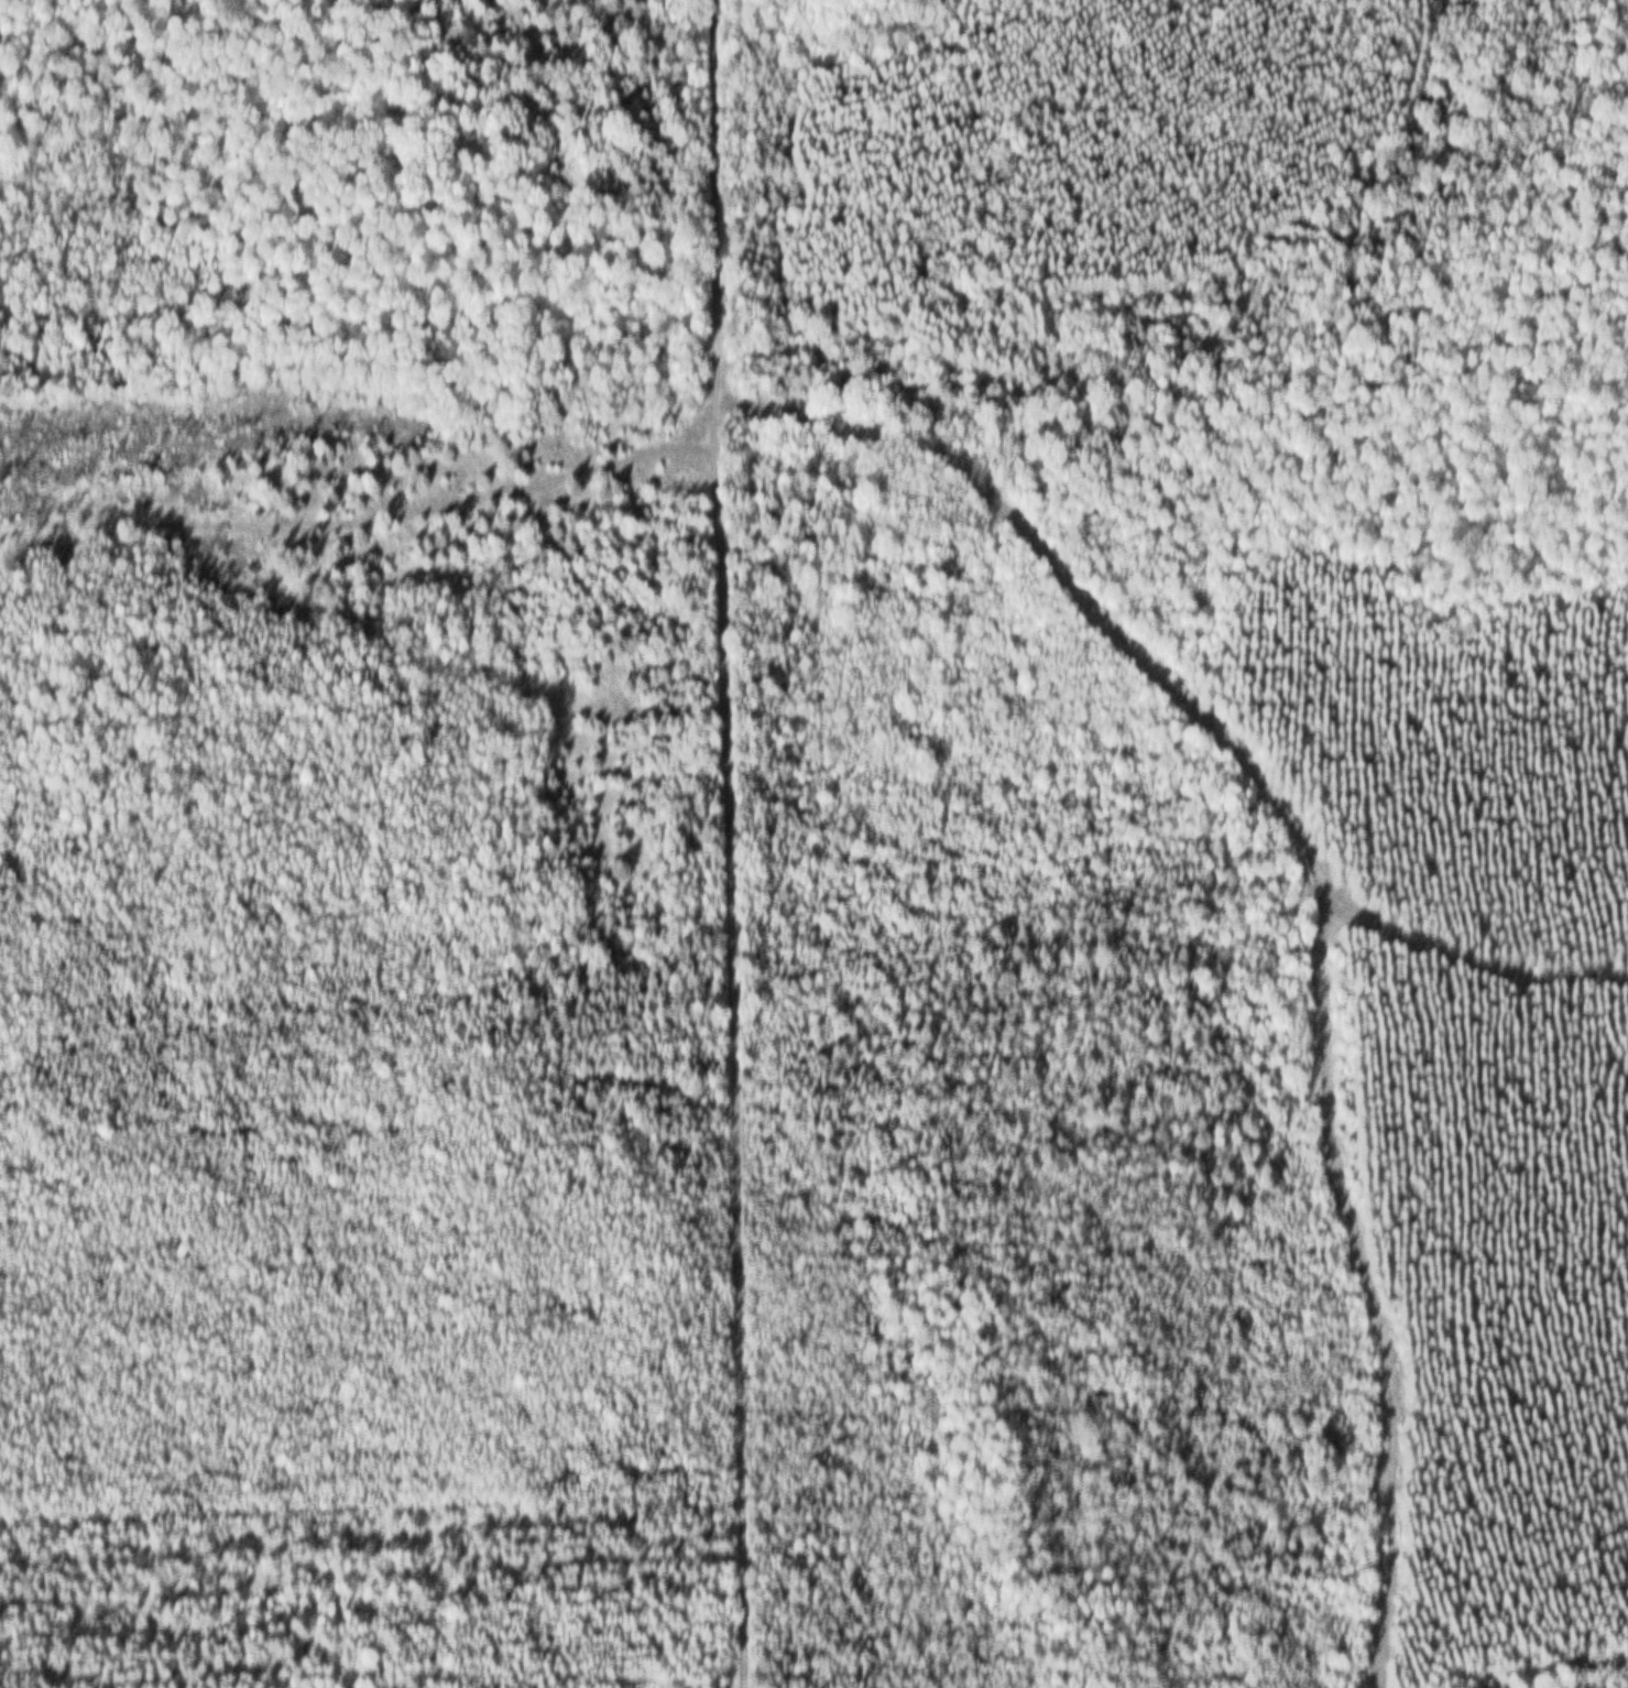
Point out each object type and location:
road: (375, 512)
road: (735, 843)
road: (1315, 896)
road: (1466, 973)

